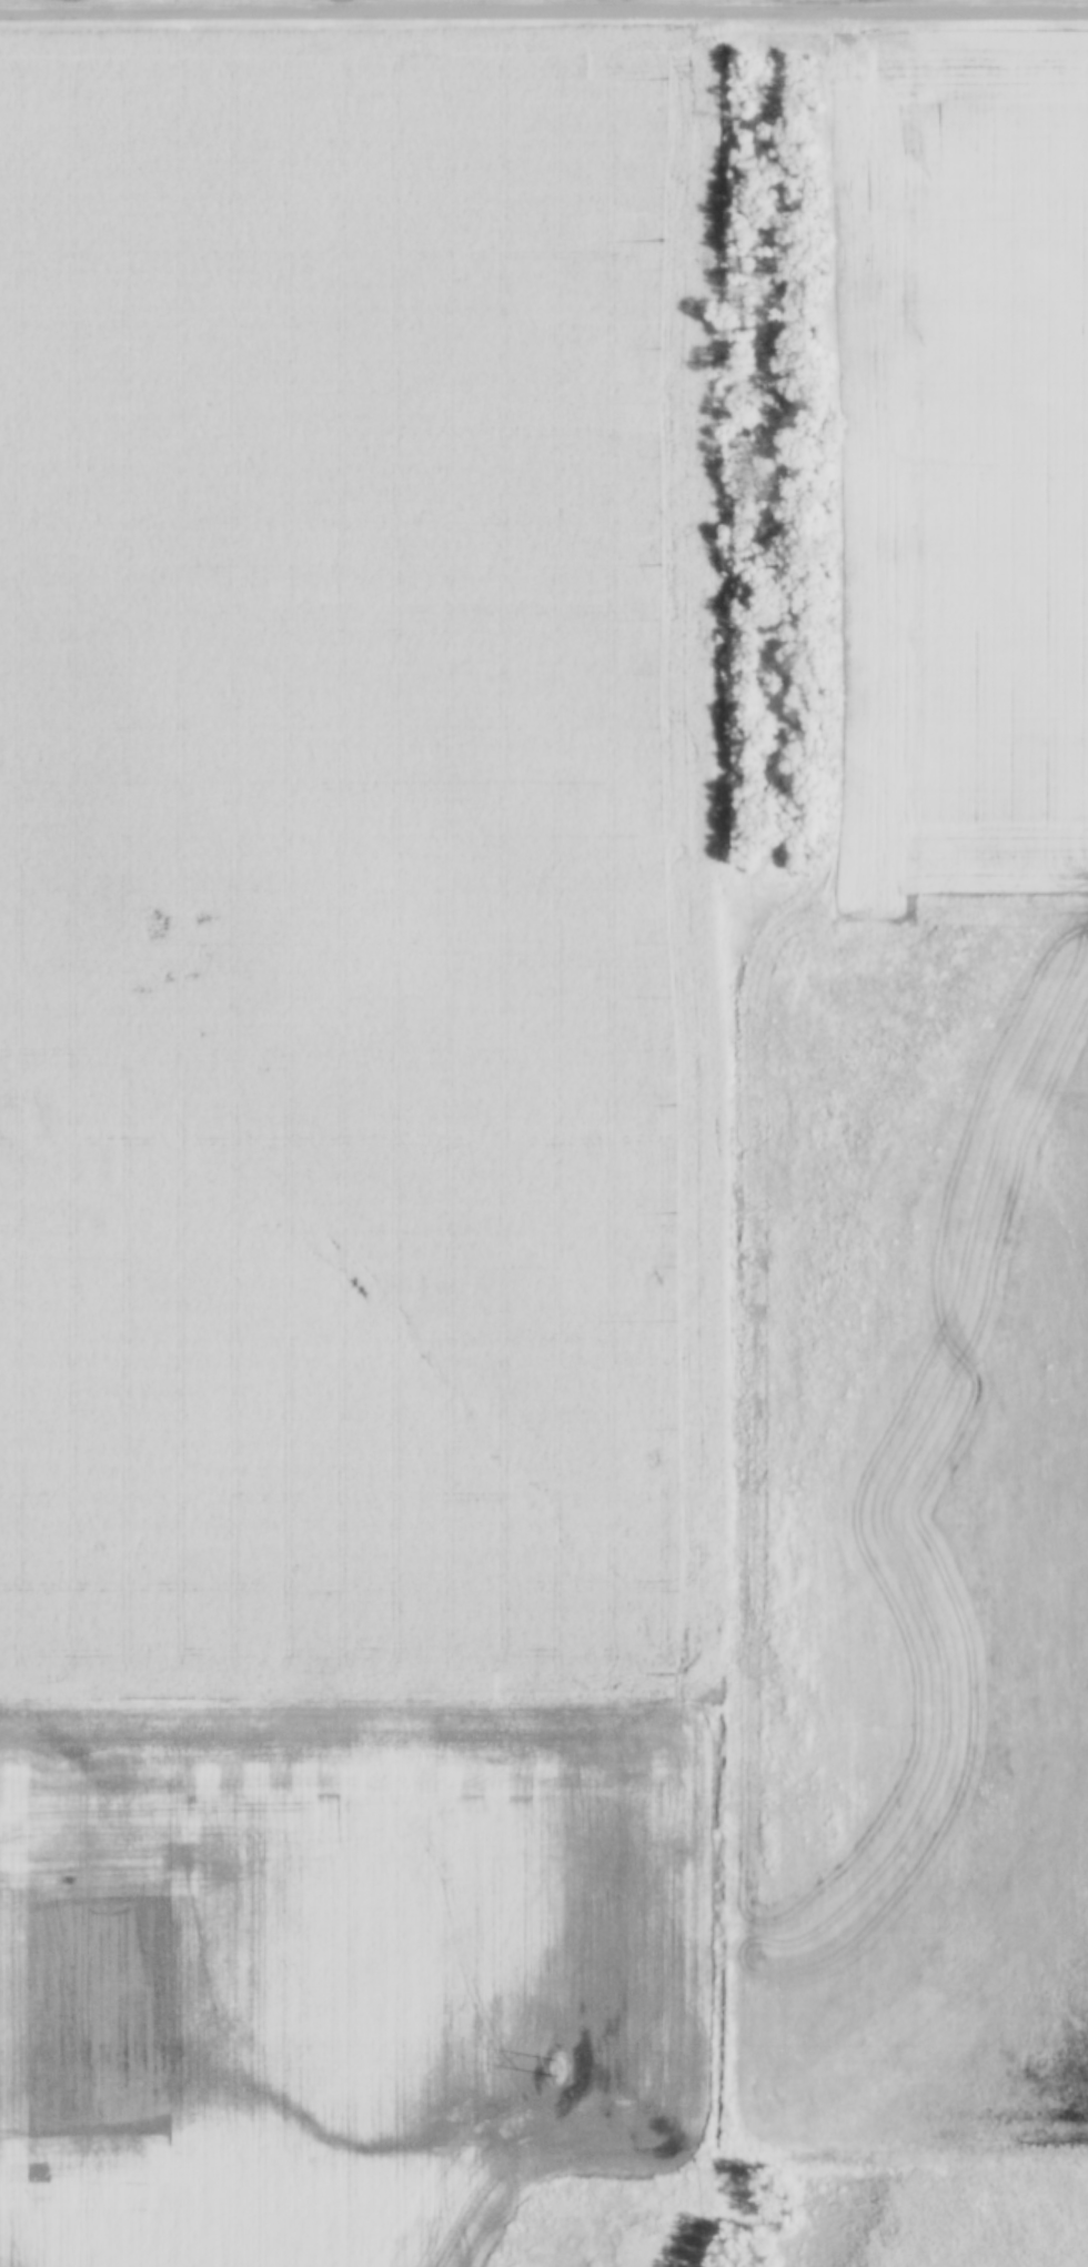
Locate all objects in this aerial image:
road: (721, 7)
road: (544, 13)
crop: (356, 1132)
crop: (927, 1139)
power tower: (558, 2067)

